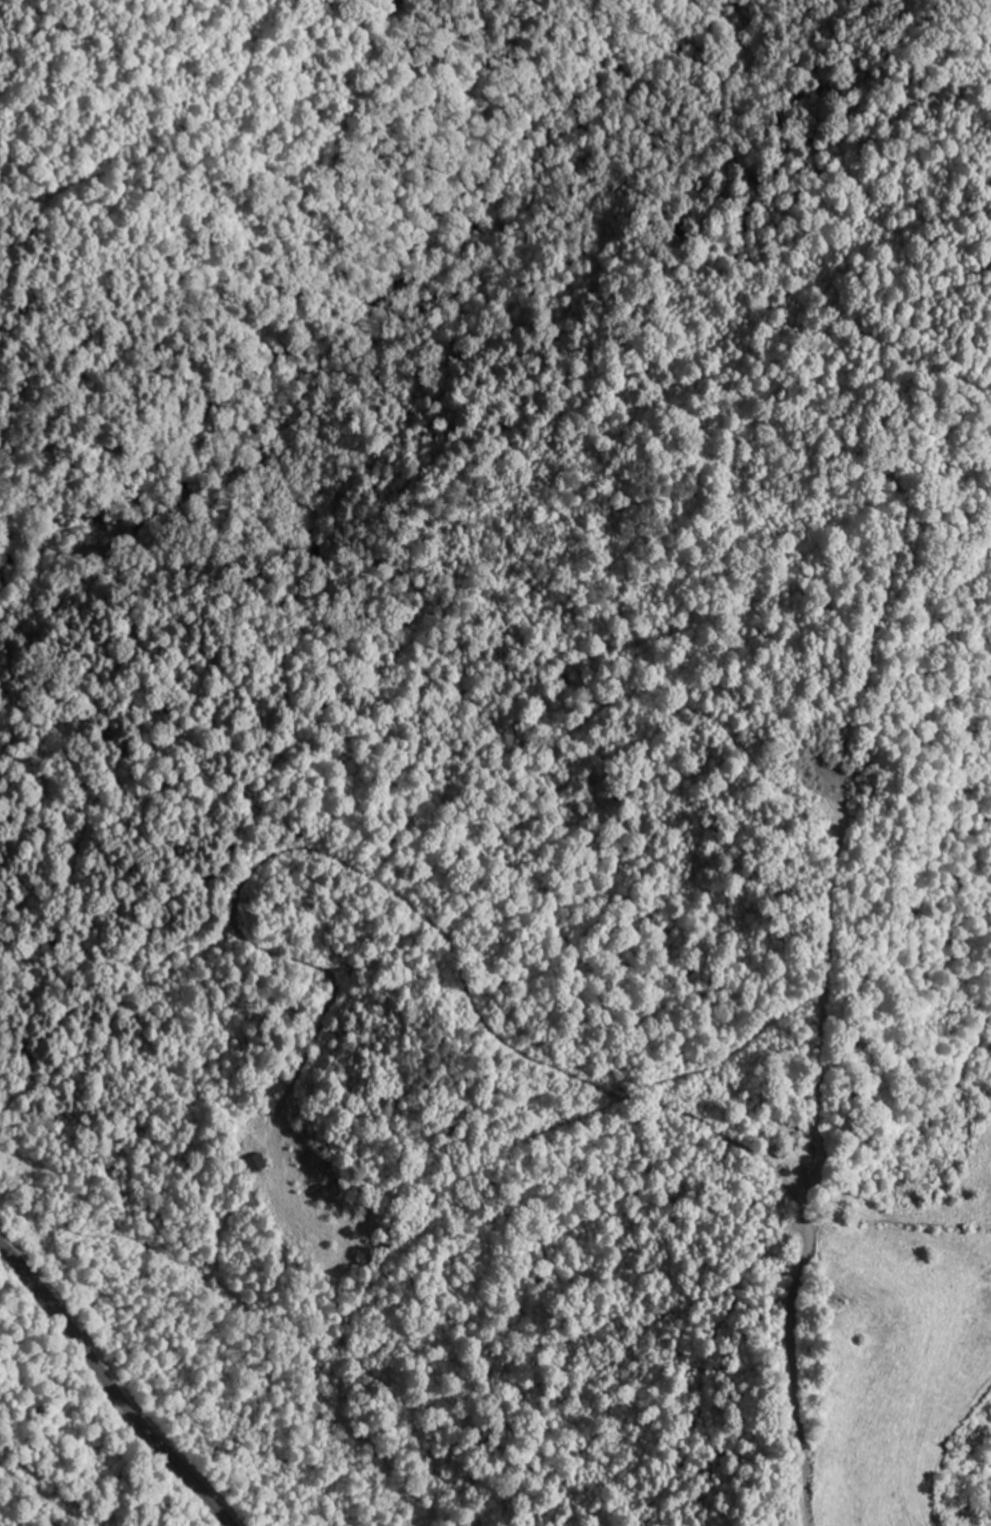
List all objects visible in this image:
building: (784, 1146)
building: (252, 1163)
road: (794, 1372)
road: (115, 1383)

